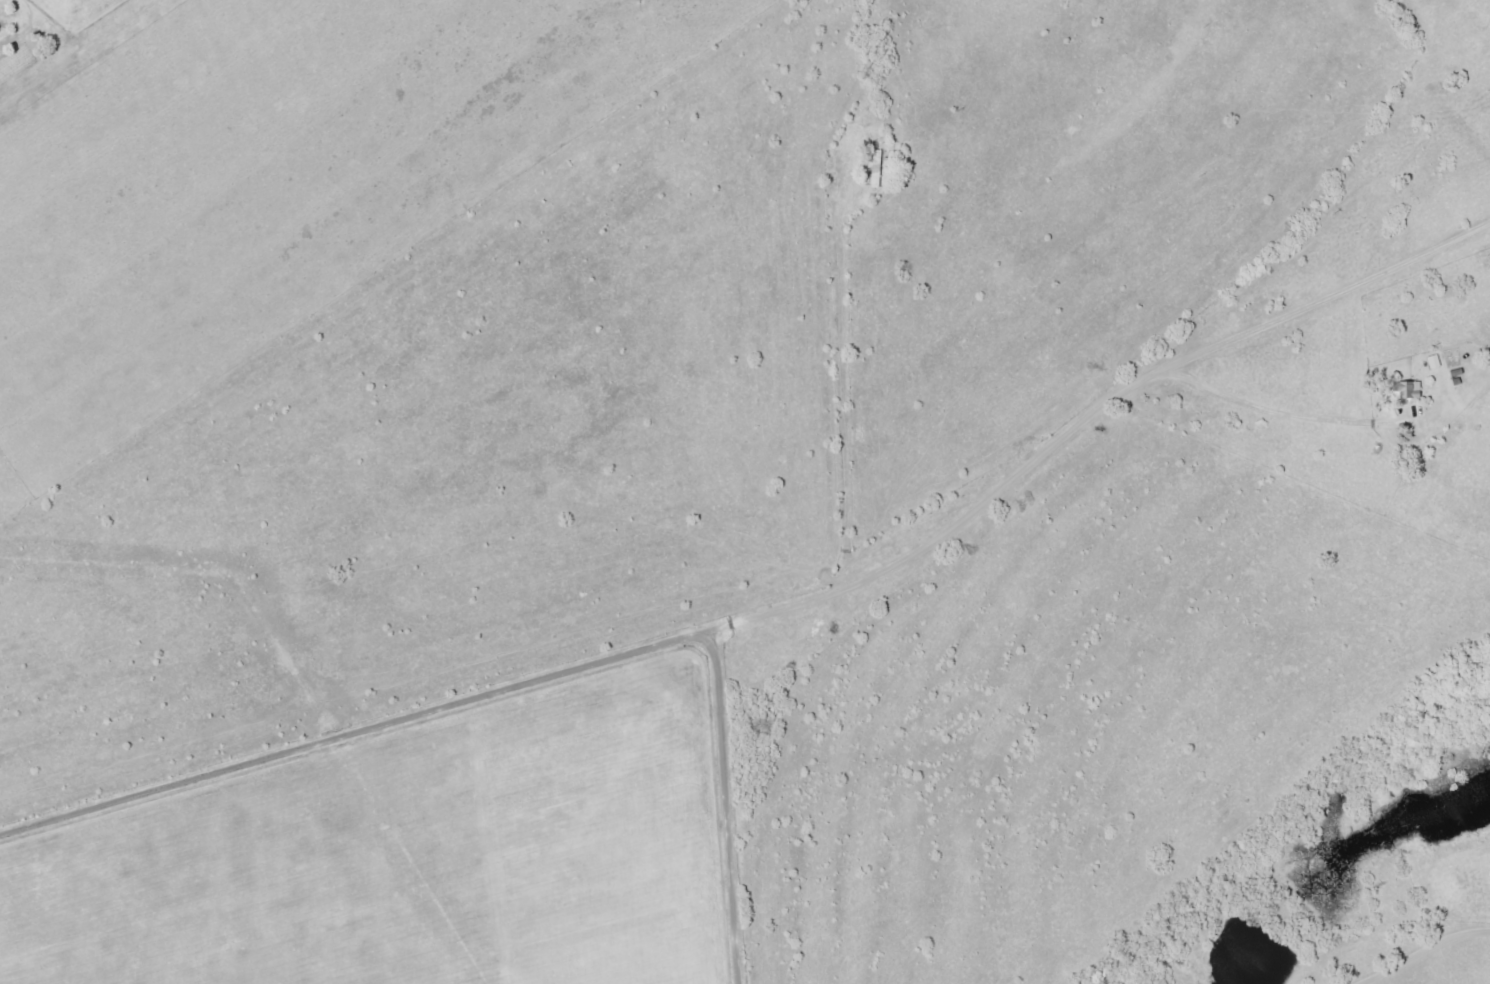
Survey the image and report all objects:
road: (88, 41)
building: (877, 166)
road: (1366, 328)
road: (1404, 374)
building: (1404, 389)
road: (1099, 441)
road: (523, 681)
road: (1441, 964)

